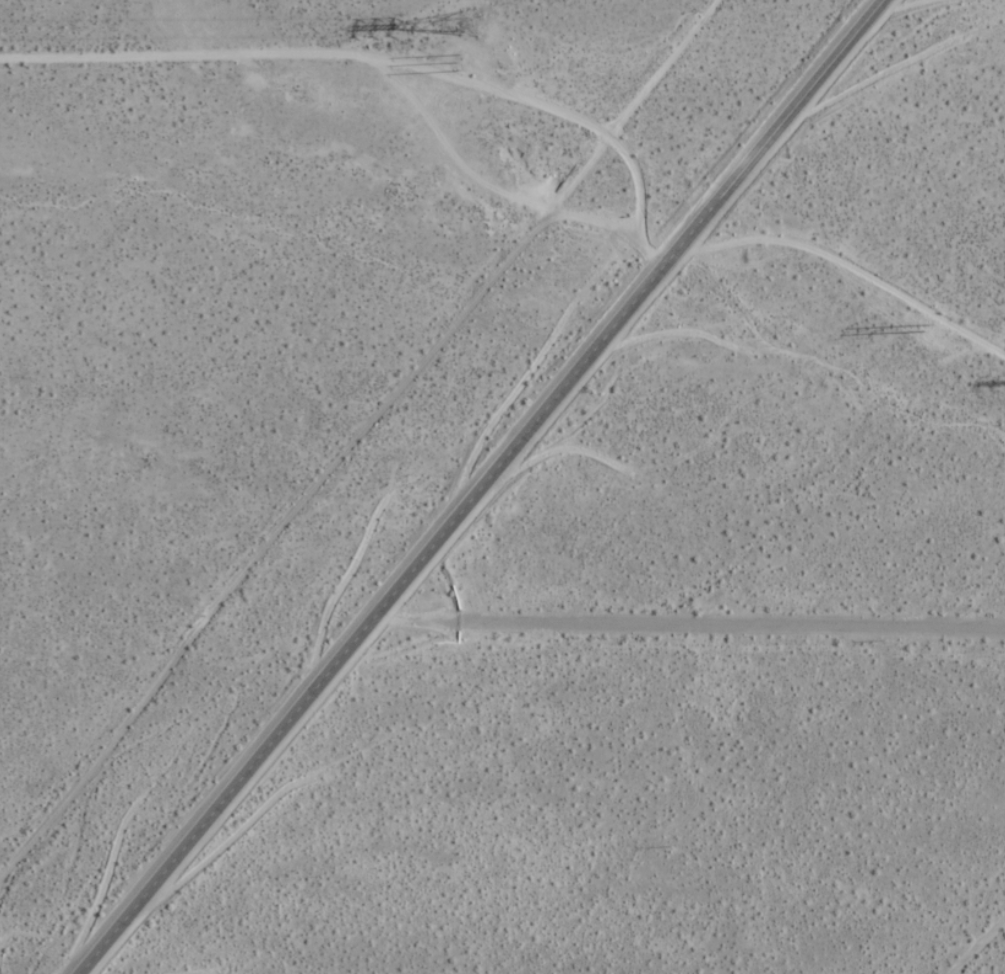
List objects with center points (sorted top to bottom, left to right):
power tower: (473, 22)
power tower: (466, 61)
road: (538, 106)
road: (473, 176)
road: (844, 264)
power tower: (927, 325)
road: (482, 486)
road: (693, 619)

